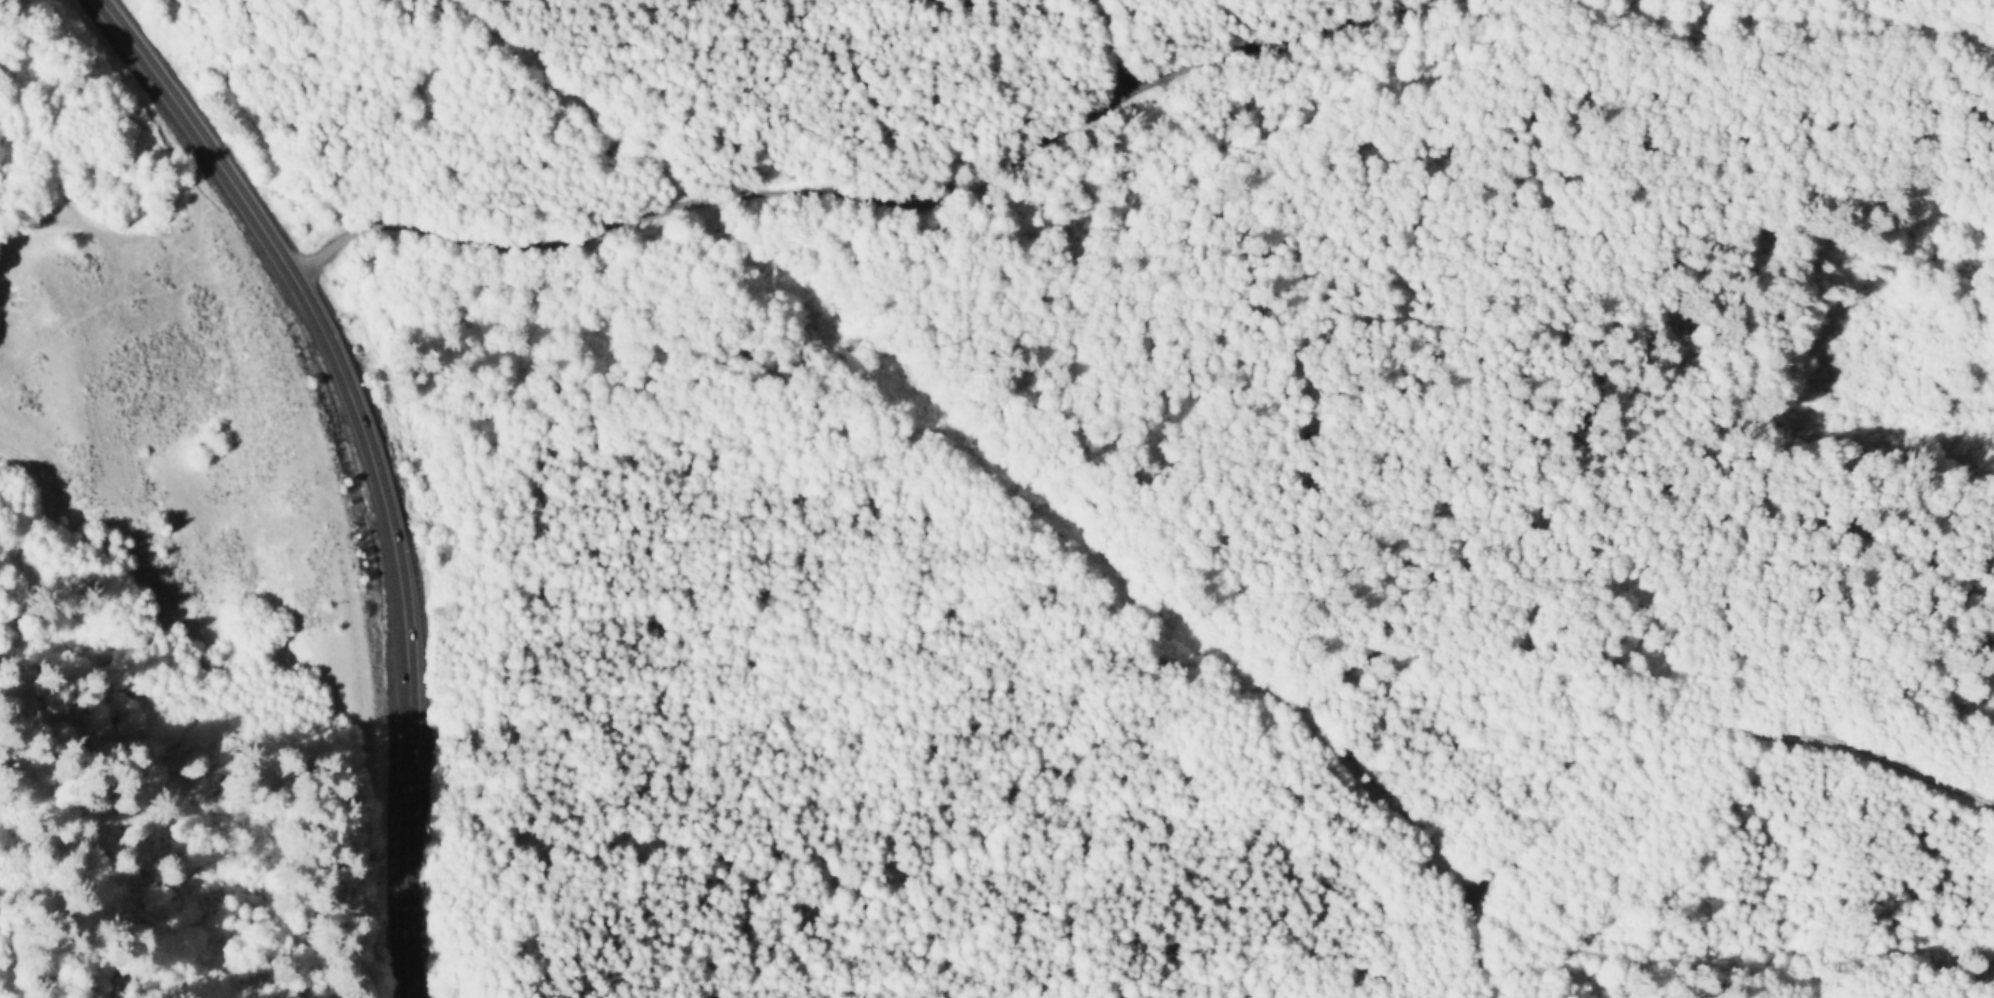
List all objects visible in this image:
road: (1792, 26)
road: (1108, 50)
road: (875, 193)
road: (89, 226)
road: (376, 462)
road: (1666, 743)

